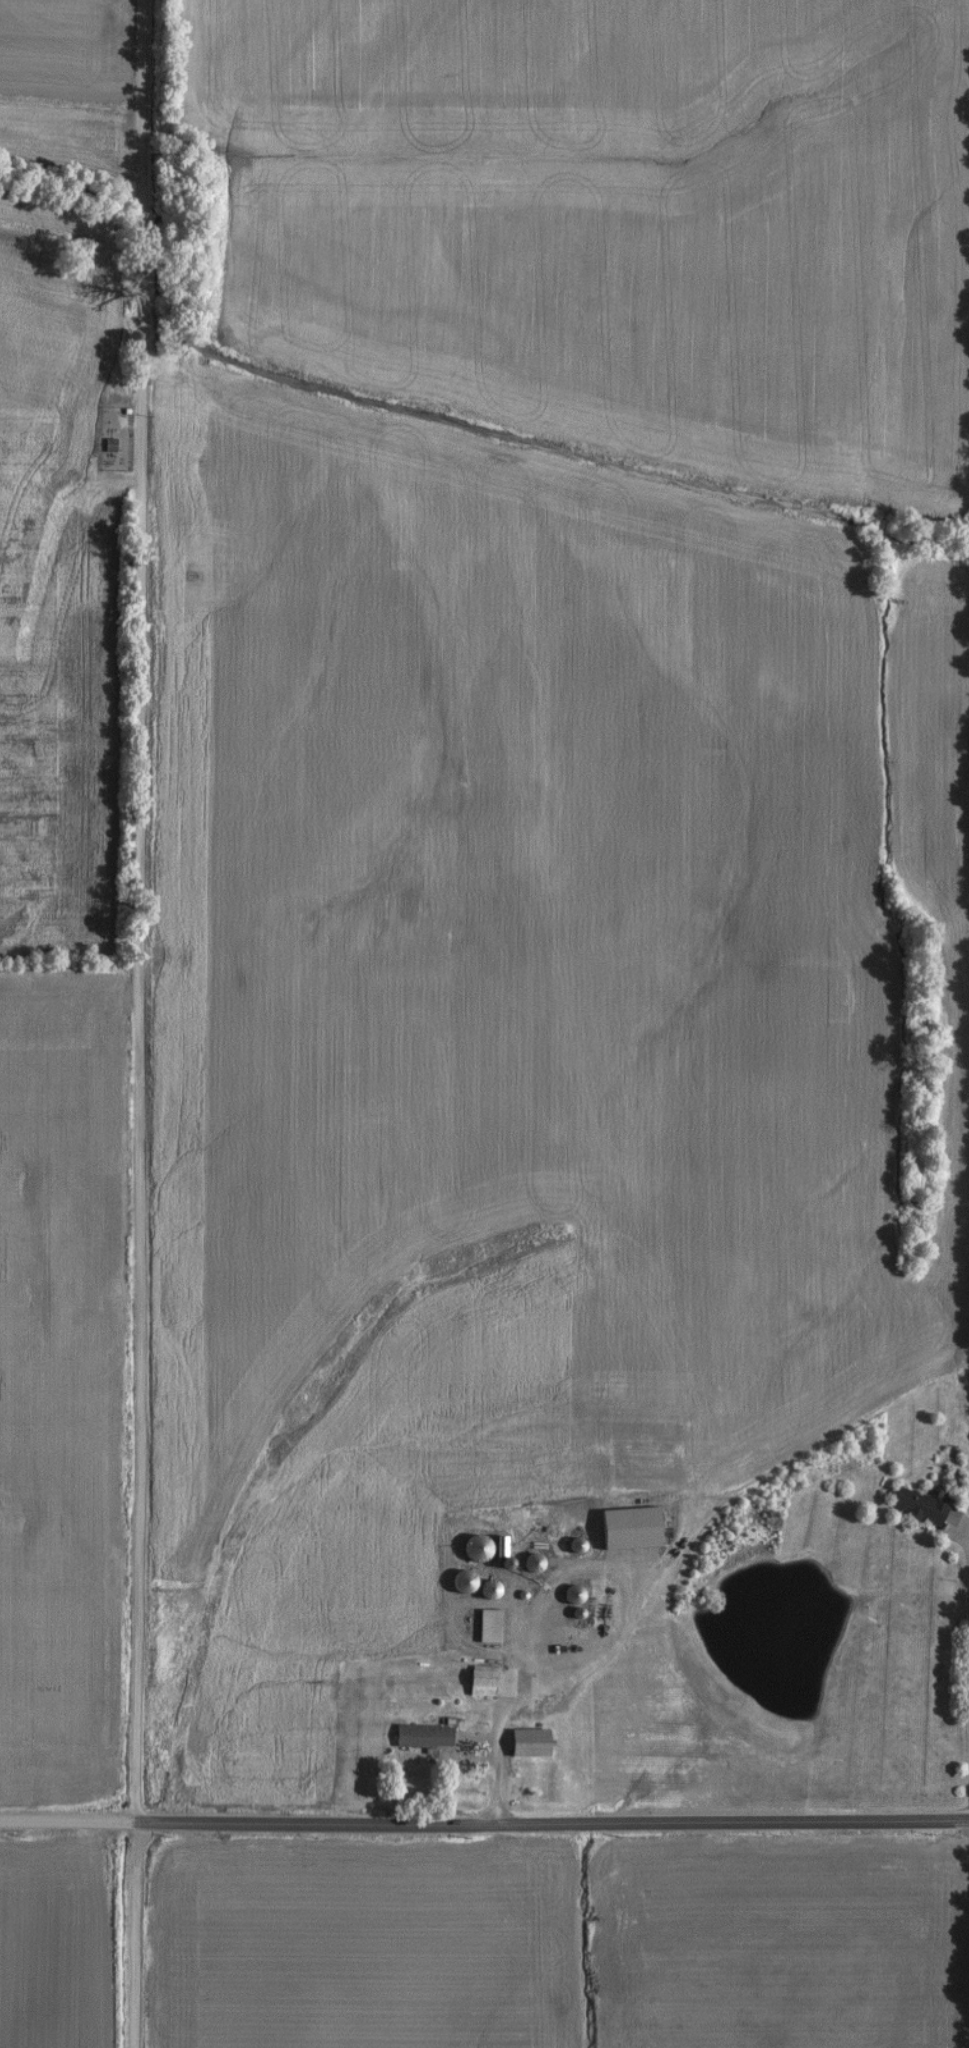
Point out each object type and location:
building: (106, 446)
road: (140, 1023)
building: (911, 1506)
building: (623, 1529)
building: (569, 1546)
building: (470, 1550)
building: (527, 1564)
building: (457, 1581)
building: (485, 1587)
building: (566, 1596)
building: (483, 1627)
building: (476, 1682)
building: (538, 1688)
building: (418, 1736)
building: (522, 1742)
road: (500, 1747)
road: (484, 1824)

